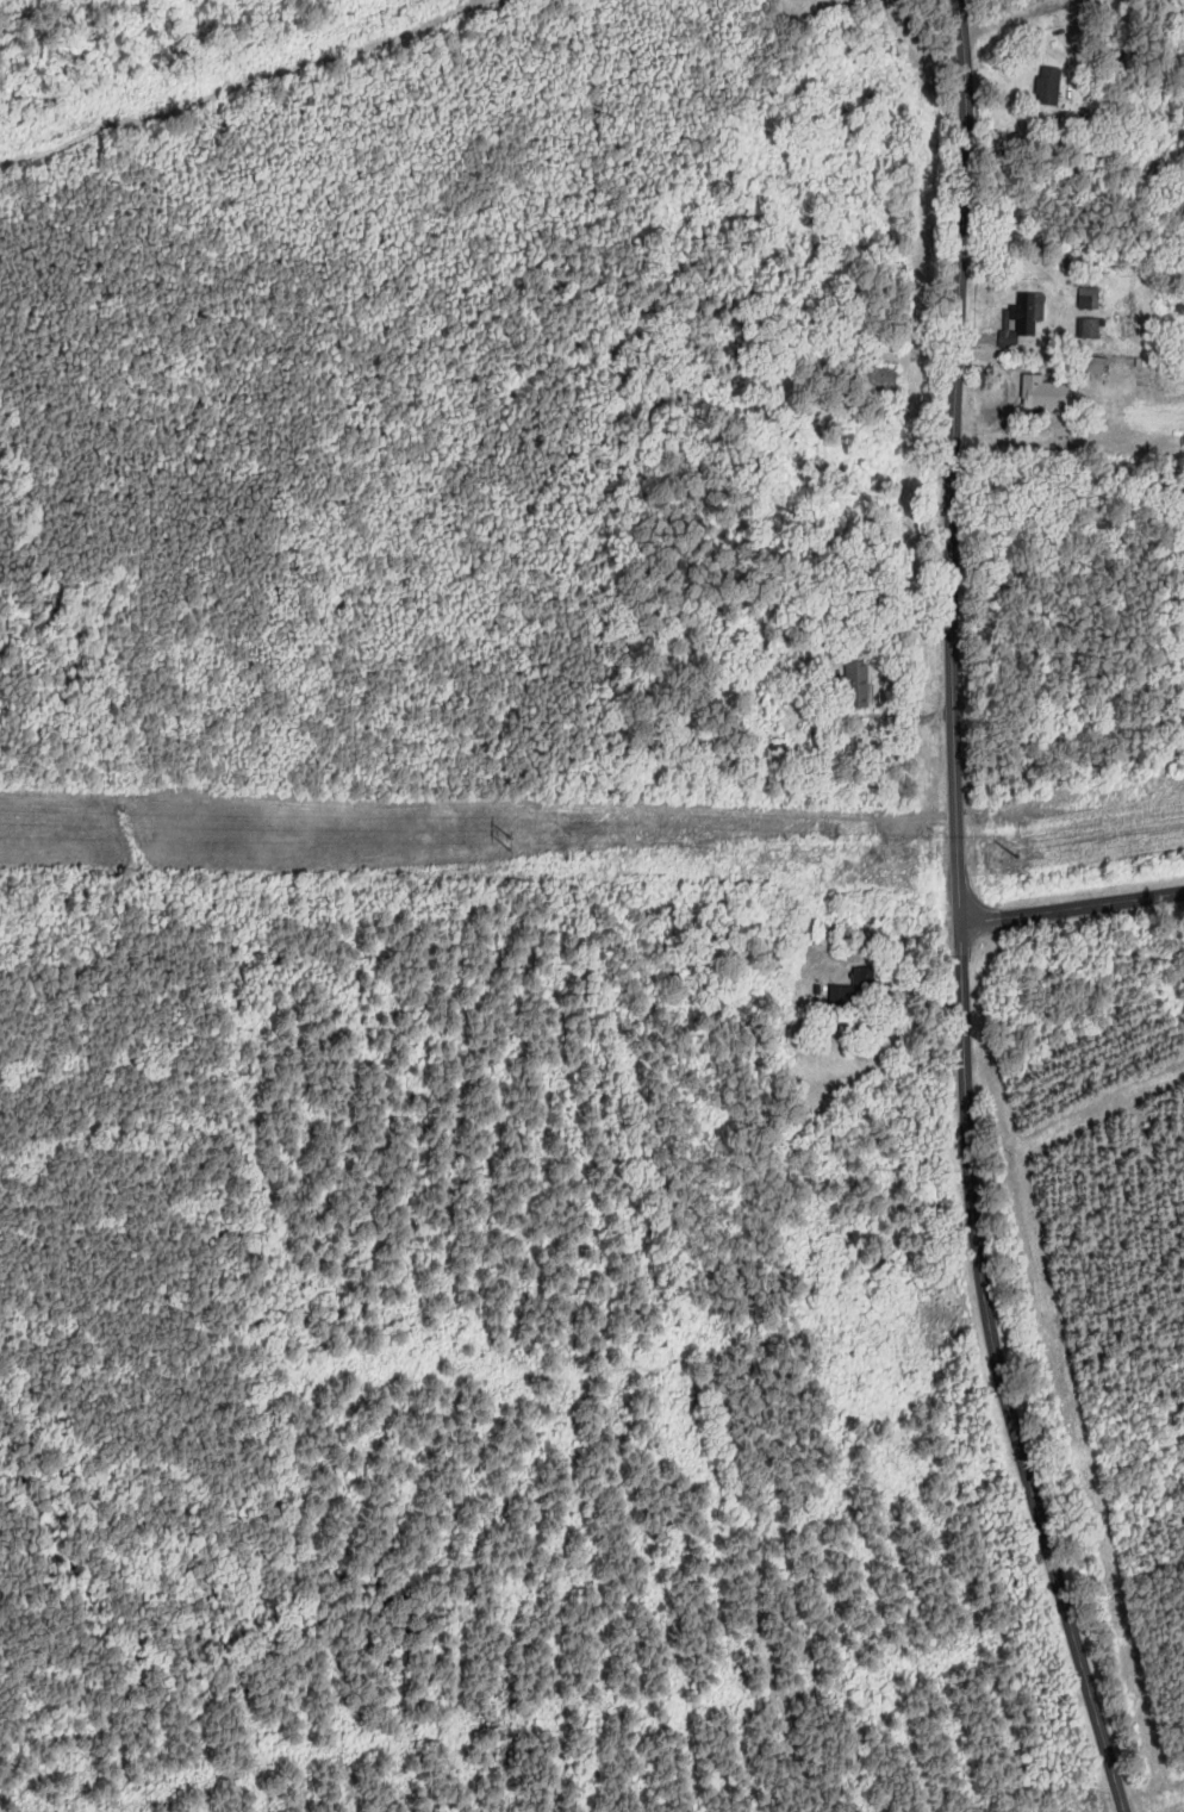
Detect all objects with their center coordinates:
road: (1022, 18)
building: (1049, 86)
building: (1090, 299)
building: (1090, 328)
building: (1096, 365)
building: (883, 379)
building: (1047, 393)
building: (858, 684)
power tower: (977, 832)
power tower: (512, 842)
road: (1072, 908)
road: (960, 915)
building: (856, 991)

